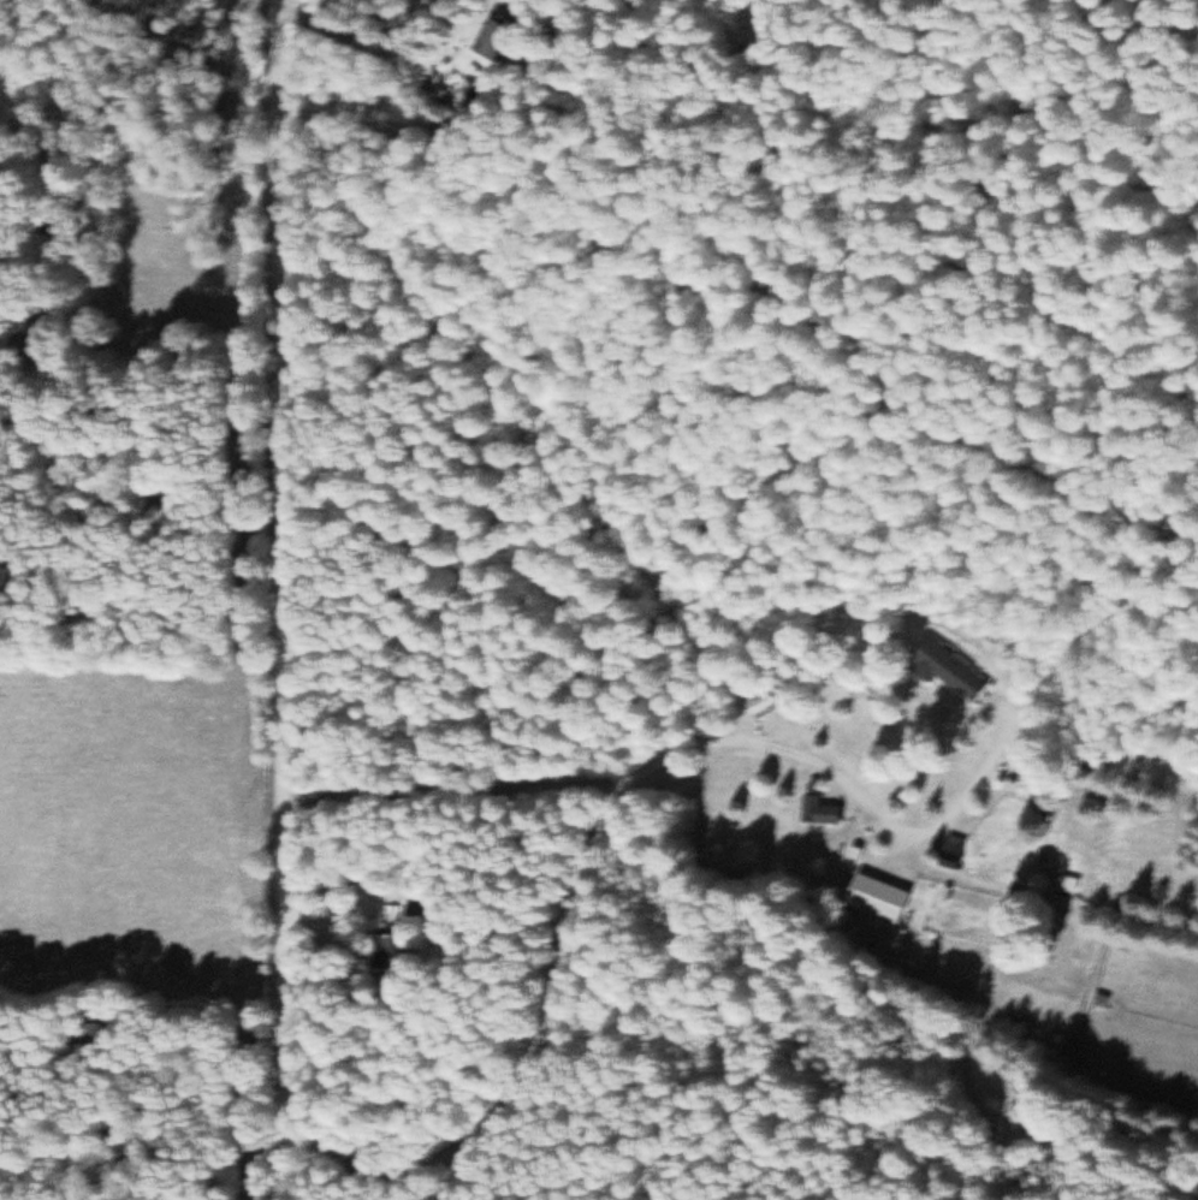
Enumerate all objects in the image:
building: (499, 40)
road: (287, 599)
road: (346, 628)
building: (948, 671)
building: (813, 809)
building: (878, 901)
building: (396, 955)
road: (553, 1038)

